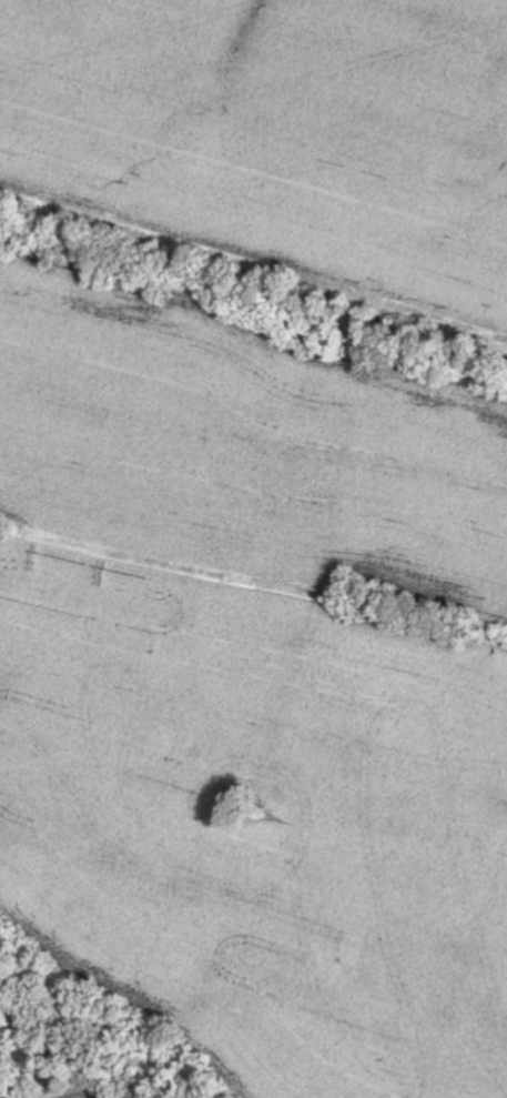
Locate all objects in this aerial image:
road: (67, 1090)

